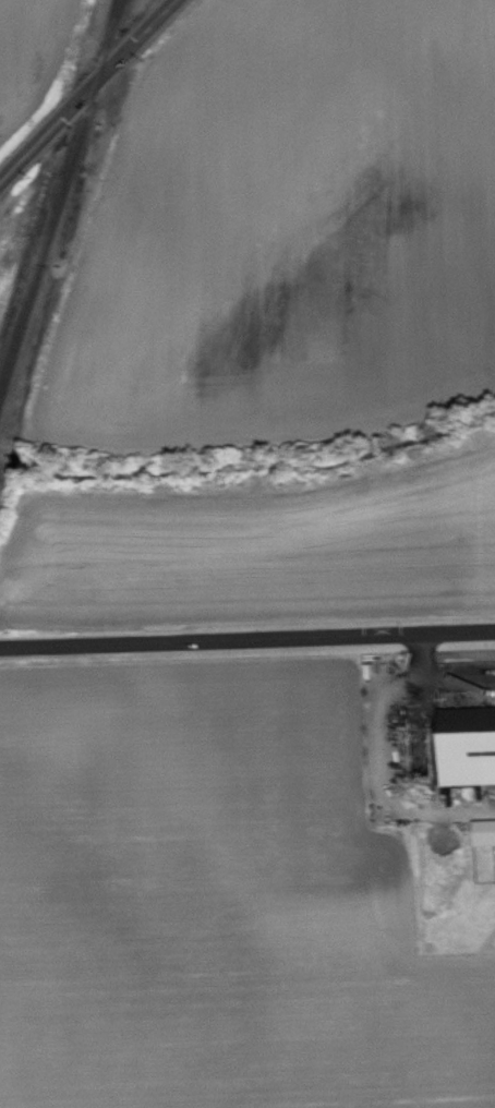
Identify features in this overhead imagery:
road: (88, 92)
railway: (61, 201)
road: (247, 638)
road: (440, 676)
building: (467, 745)

